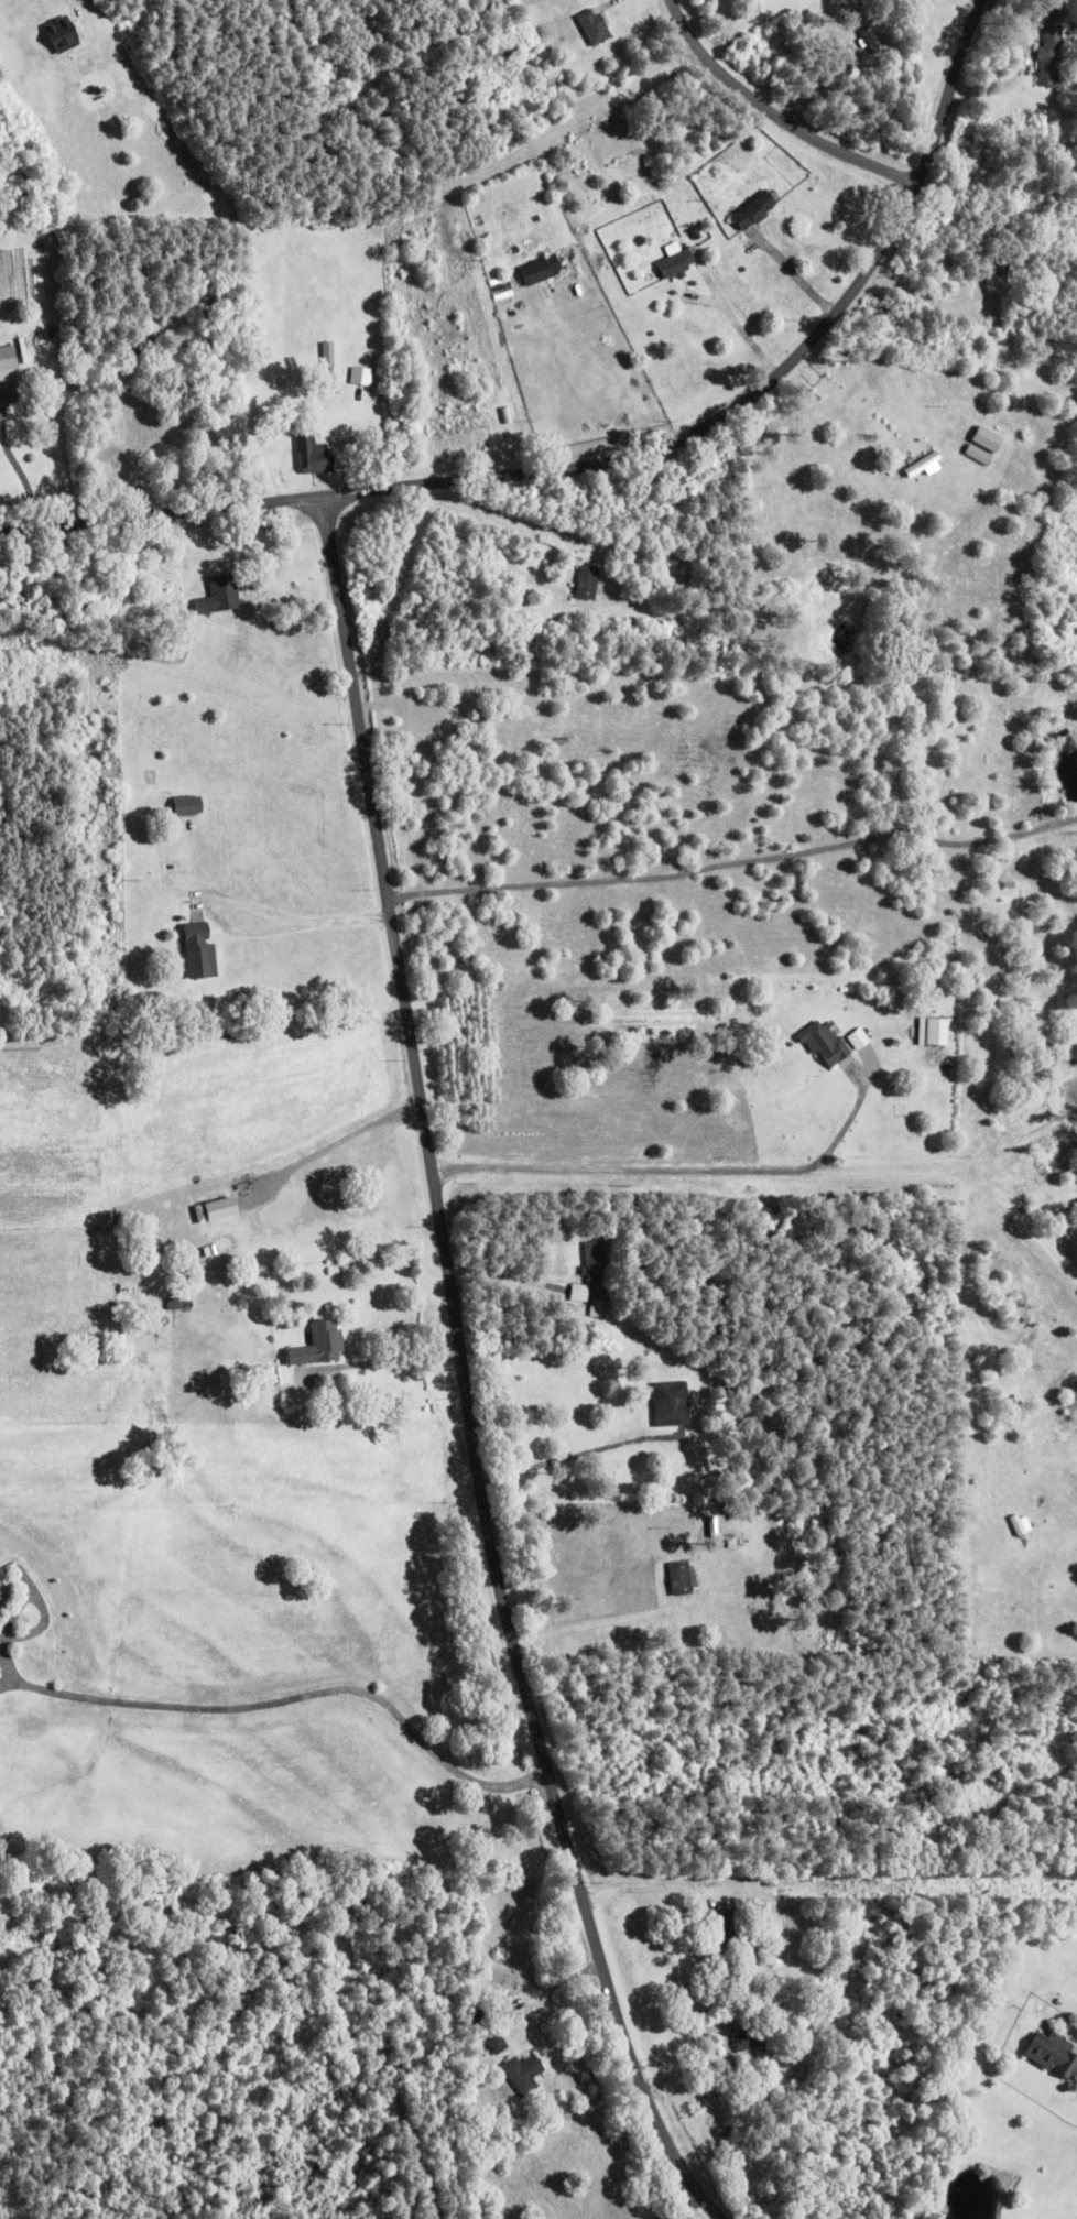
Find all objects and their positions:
building: (594, 28)
building: (59, 35)
building: (1049, 48)
road: (776, 113)
building: (754, 211)
building: (676, 265)
building: (540, 271)
building: (9, 366)
building: (982, 446)
building: (313, 456)
road: (614, 456)
building: (587, 584)
building: (219, 597)
building: (187, 806)
building: (199, 953)
building: (824, 1044)
building: (595, 1264)
building: (175, 1305)
building: (319, 1345)
road: (466, 1375)
building: (671, 1405)
building: (1026, 1514)
building: (2, 1574)
building: (679, 1579)
building: (721, 1933)
building: (749, 2038)
building: (498, 2045)
building: (1052, 2054)
building: (523, 2074)

